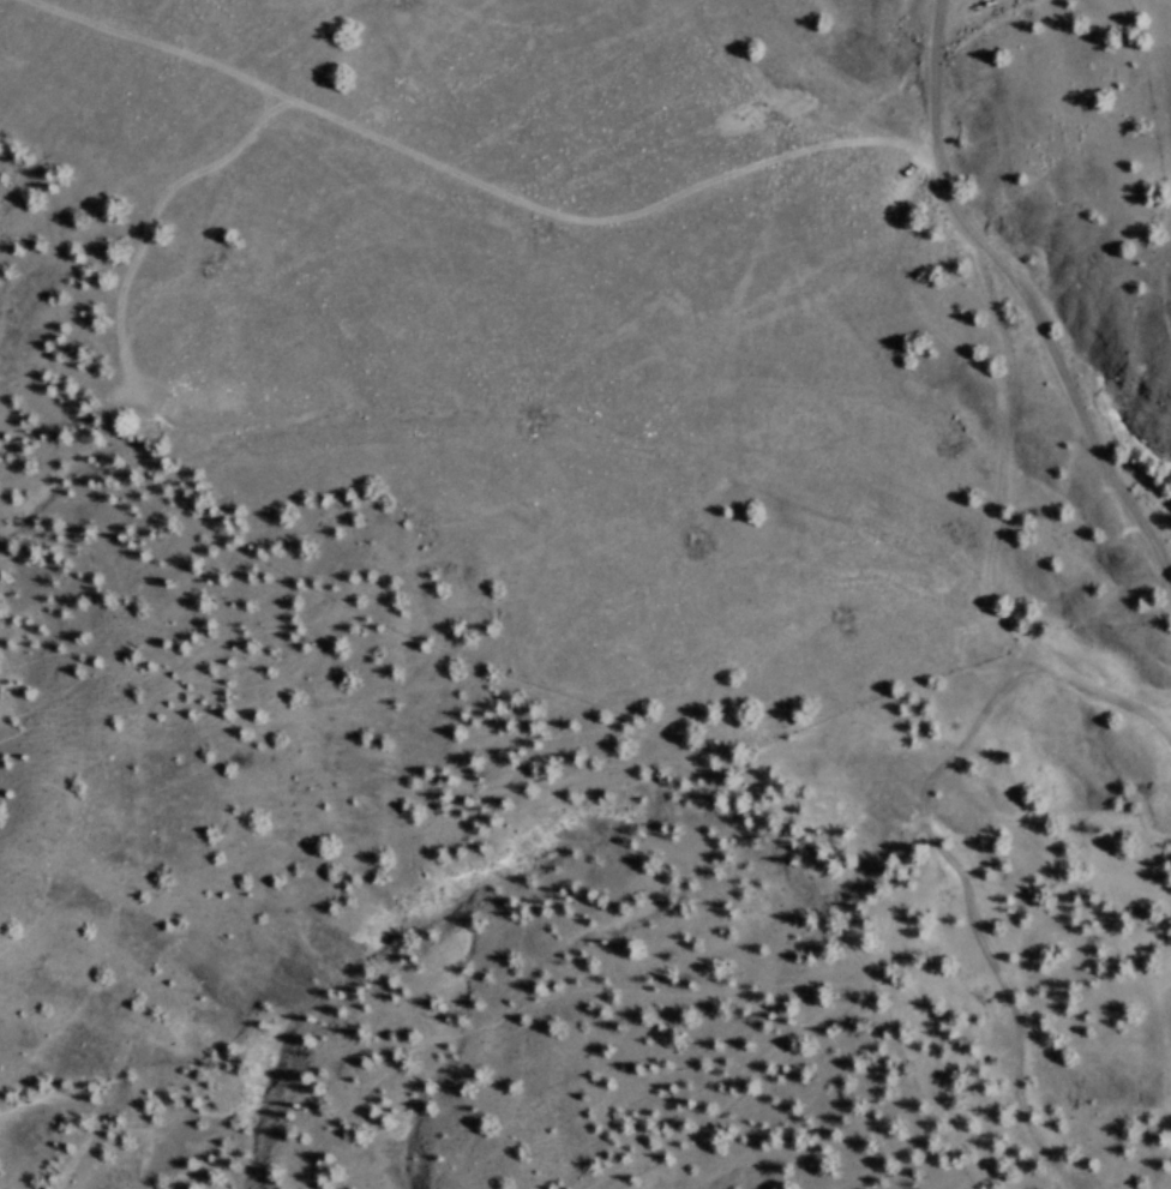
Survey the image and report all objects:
road: (909, 413)

